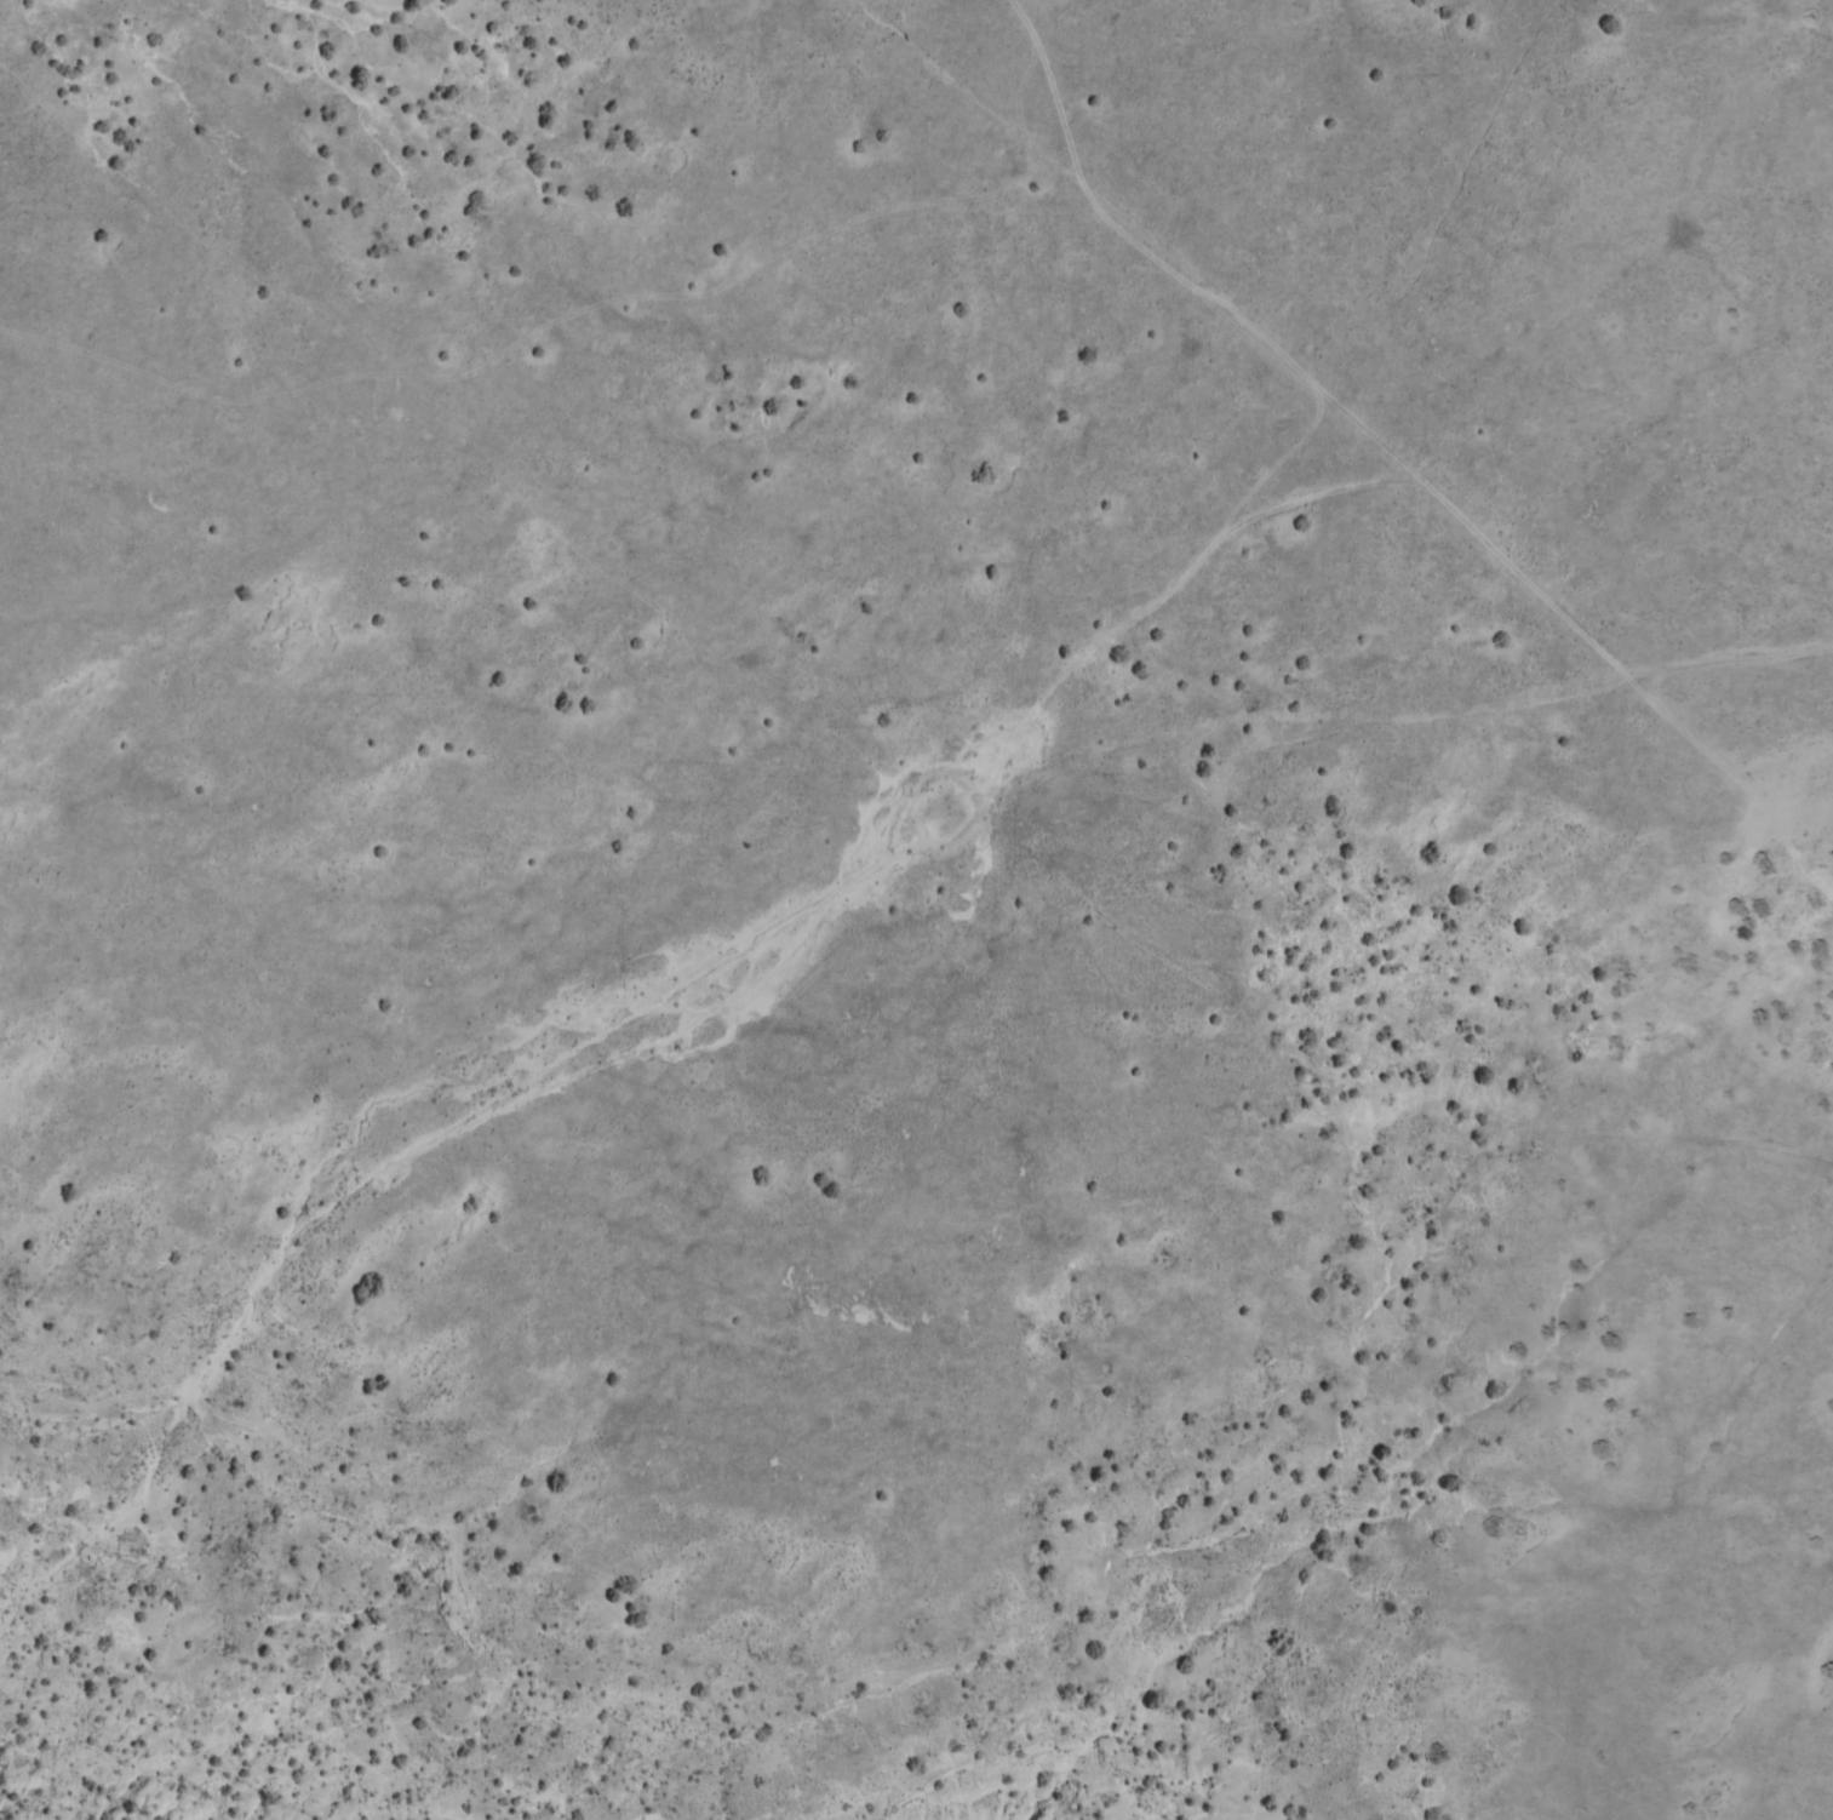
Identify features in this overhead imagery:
road: (1371, 394)

